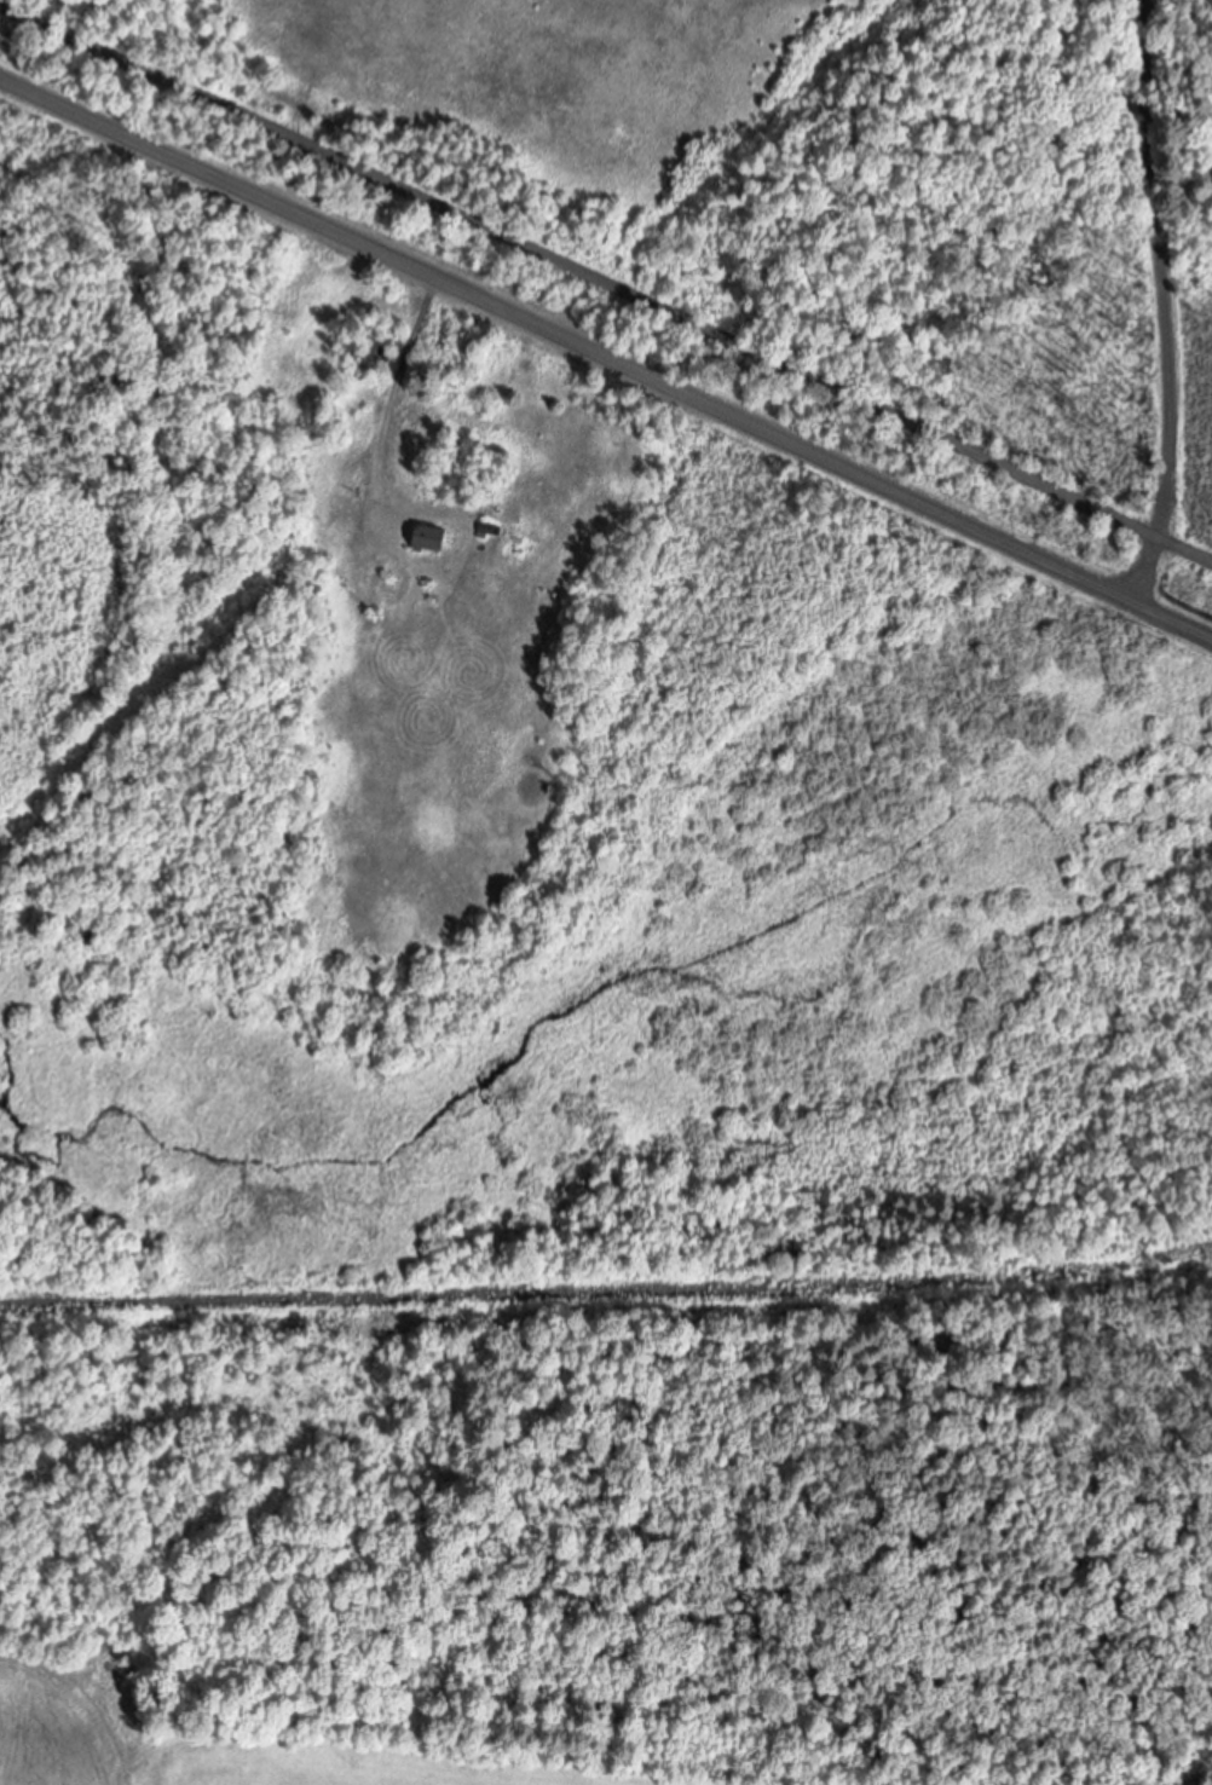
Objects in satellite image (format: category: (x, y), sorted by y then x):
road: (605, 283)
road: (1162, 304)
road: (605, 358)
building: (437, 542)
railway: (607, 1292)

